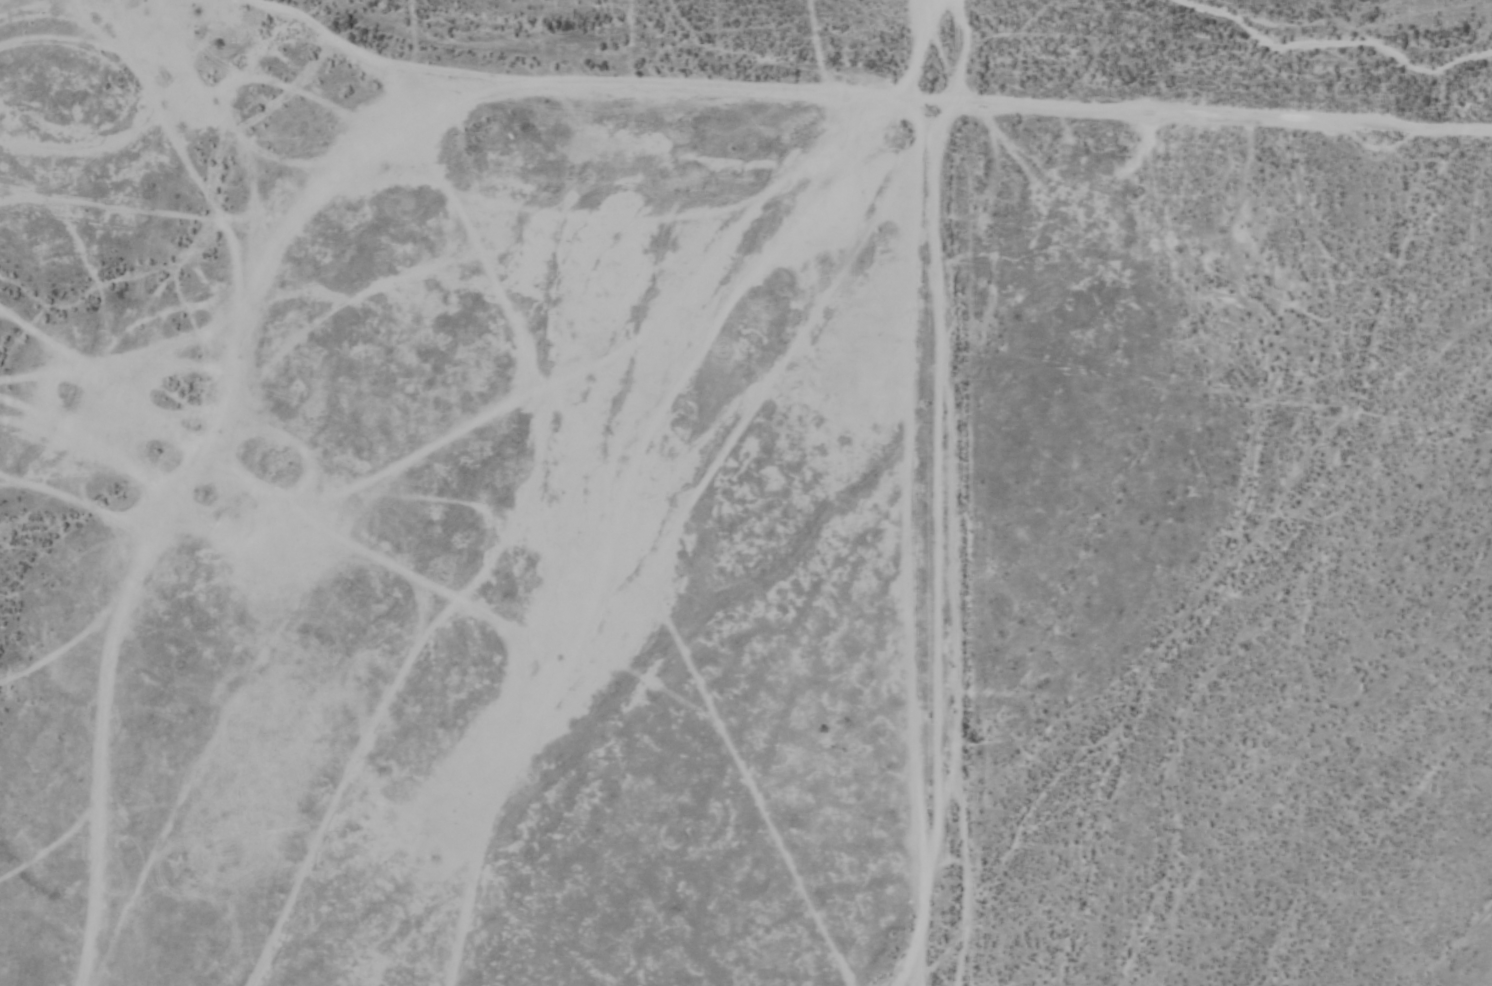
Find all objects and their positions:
road: (273, 41)

